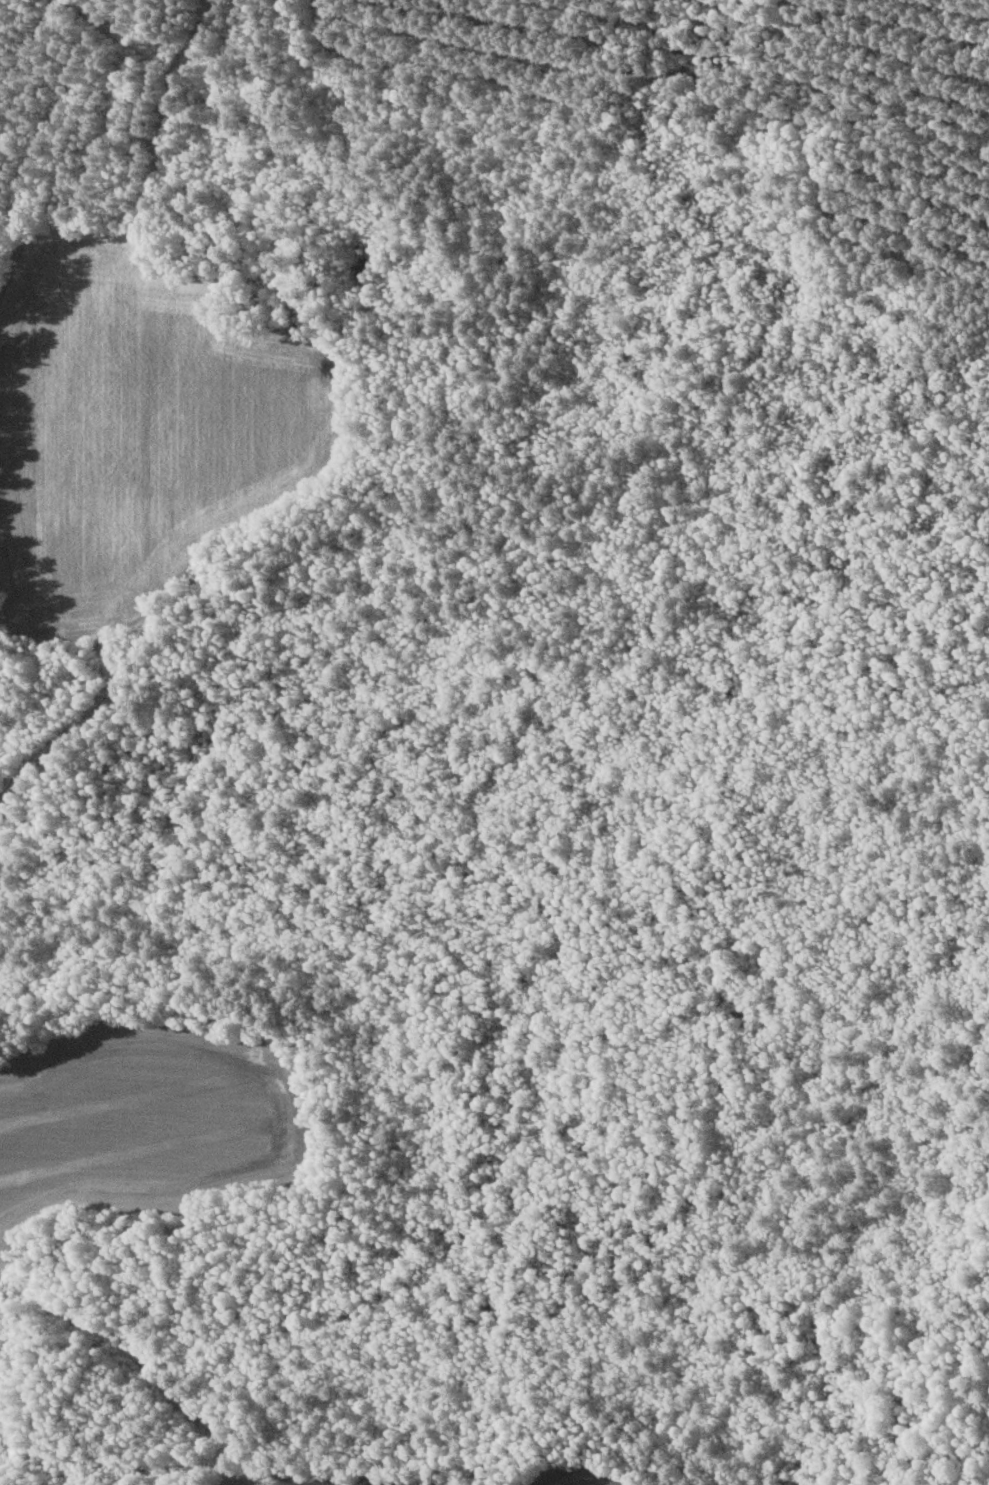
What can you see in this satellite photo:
crop: (139, 425)
road: (75, 727)
crop: (147, 1118)
crop: (585, 1471)
crop: (344, 1475)

